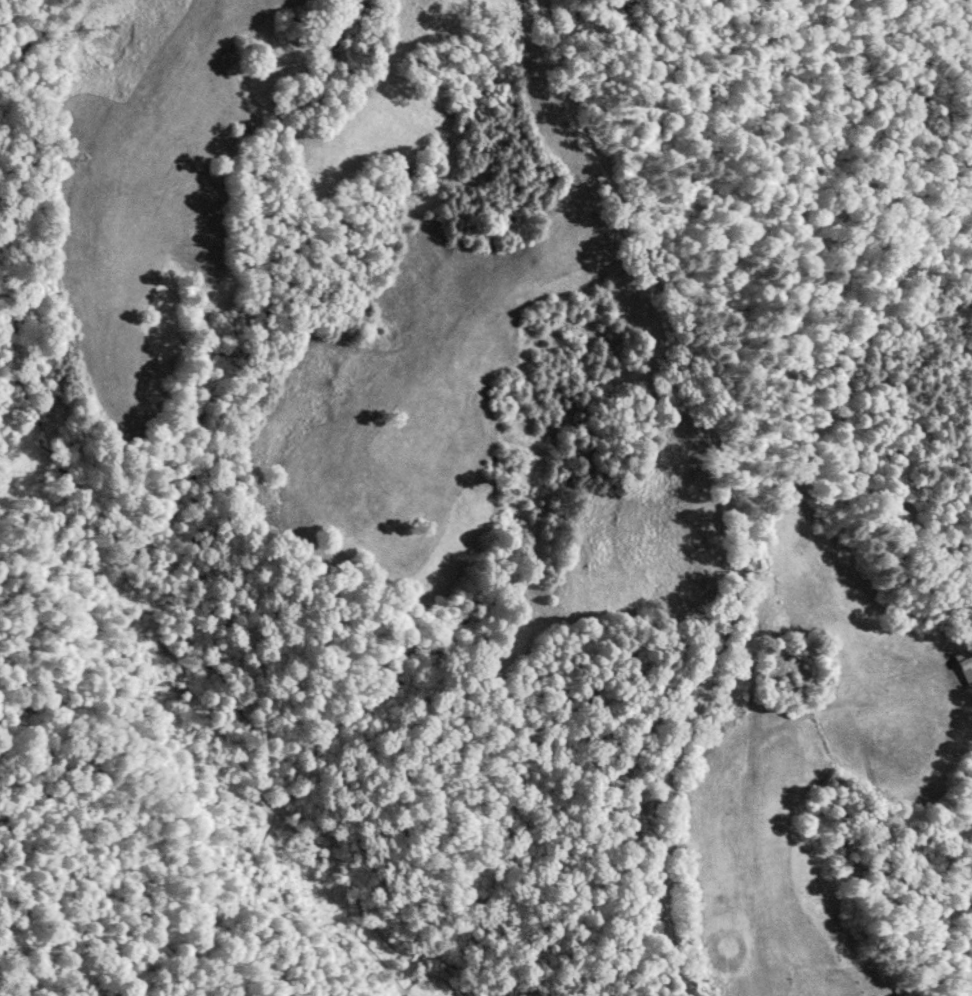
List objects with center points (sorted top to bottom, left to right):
road: (716, 483)

